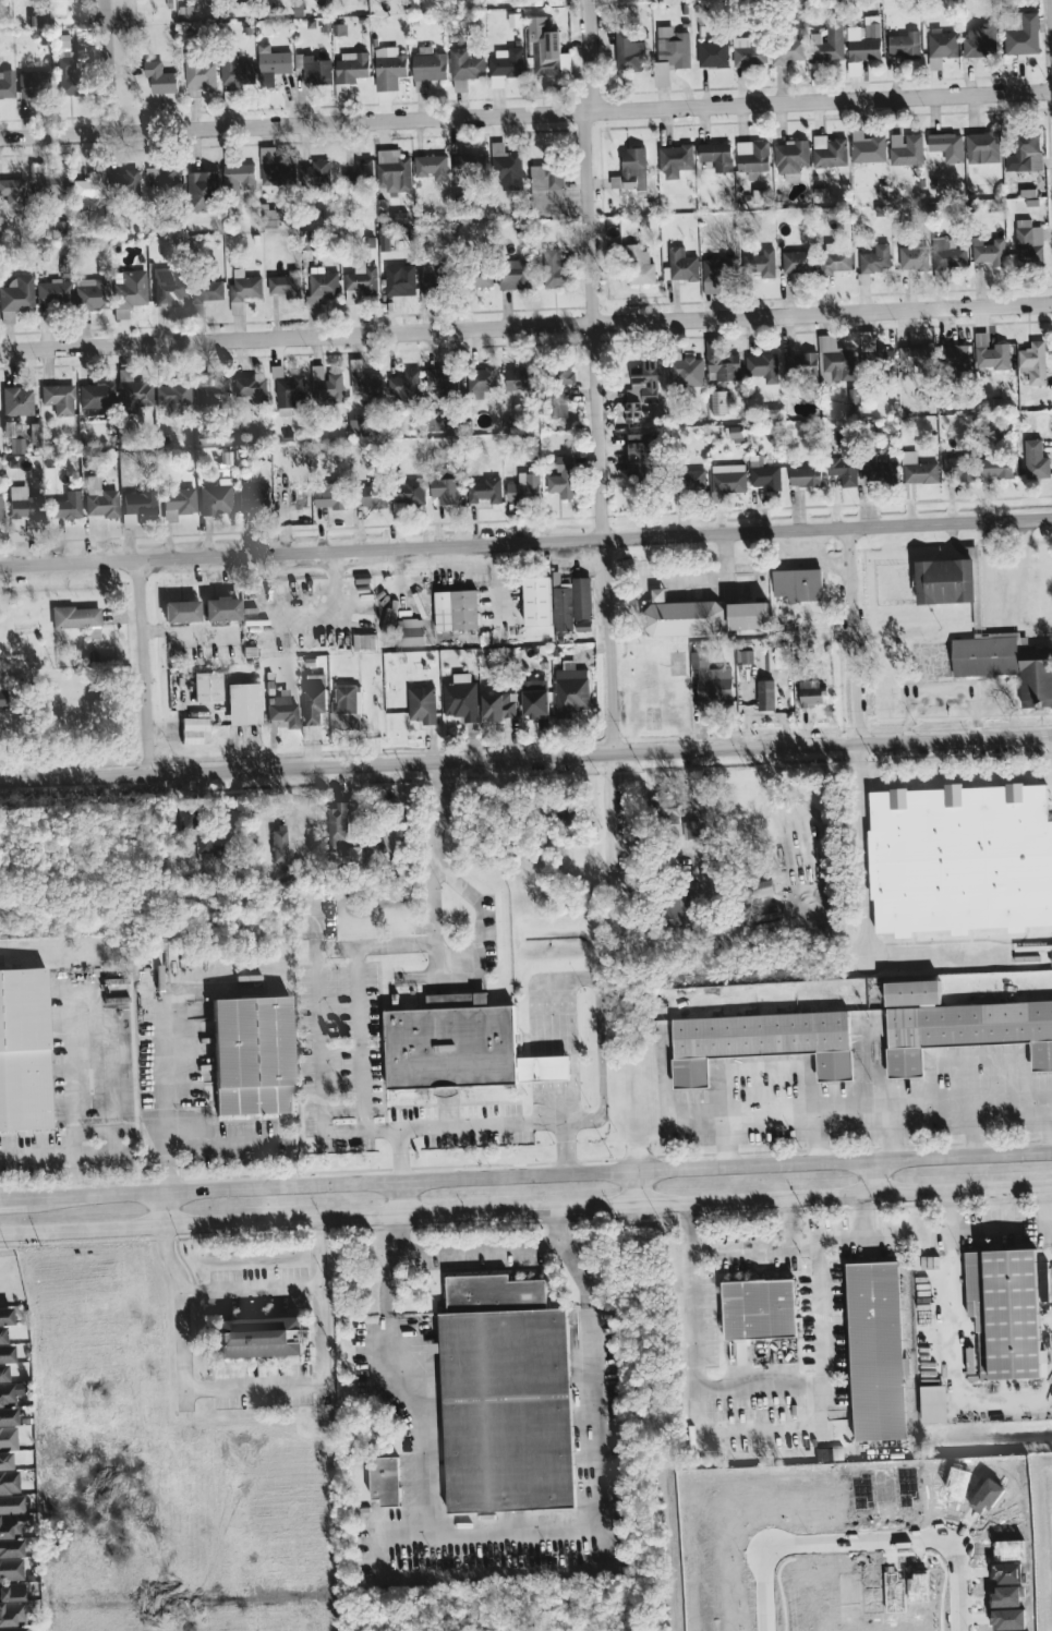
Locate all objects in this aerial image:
building: (1023, 35)
building: (829, 41)
building: (981, 41)
building: (862, 44)
building: (942, 44)
building: (906, 45)
building: (674, 47)
building: (548, 48)
building: (787, 50)
building: (749, 51)
building: (629, 52)
building: (713, 53)
building: (507, 62)
building: (273, 64)
road: (109, 67)
building: (352, 67)
building: (428, 67)
building: (389, 68)
building: (464, 68)
building: (314, 69)
building: (66, 70)
building: (814, 70)
building: (202, 73)
building: (237, 73)
building: (662, 73)
building: (160, 77)
building: (33, 84)
building: (7, 85)
road: (525, 111)
building: (947, 146)
building: (867, 147)
building: (983, 148)
building: (906, 149)
building: (830, 152)
building: (1024, 155)
building: (716, 156)
building: (752, 158)
building: (790, 158)
building: (675, 160)
building: (432, 167)
building: (275, 169)
building: (470, 169)
building: (634, 169)
building: (508, 170)
building: (394, 171)
building: (316, 174)
building: (360, 174)
building: (161, 176)
building: (239, 177)
building: (123, 181)
building: (616, 182)
building: (48, 184)
building: (547, 188)
building: (87, 190)
building: (13, 191)
building: (204, 191)
building: (269, 218)
building: (1029, 243)
building: (989, 251)
building: (948, 255)
building: (914, 257)
building: (834, 259)
building: (875, 259)
building: (797, 262)
building: (760, 264)
building: (639, 265)
building: (682, 265)
building: (555, 269)
building: (716, 273)
building: (483, 275)
building: (517, 275)
building: (400, 280)
building: (434, 280)
building: (167, 285)
building: (286, 285)
building: (361, 285)
building: (130, 288)
building: (322, 288)
building: (243, 290)
building: (52, 291)
building: (92, 293)
building: (204, 295)
building: (15, 298)
building: (120, 314)
road: (525, 323)
building: (873, 351)
building: (990, 353)
building: (956, 358)
building: (915, 359)
building: (835, 360)
building: (723, 363)
building: (1033, 363)
building: (800, 365)
building: (762, 366)
building: (687, 372)
building: (565, 374)
building: (521, 378)
road: (596, 378)
building: (445, 379)
building: (481, 380)
building: (365, 382)
building: (326, 385)
building: (407, 385)
building: (252, 388)
building: (641, 390)
building: (287, 391)
building: (214, 392)
building: (96, 395)
building: (173, 397)
building: (58, 398)
building: (854, 399)
building: (17, 402)
building: (558, 402)
building: (718, 402)
building: (436, 420)
building: (359, 427)
building: (737, 434)
building: (14, 436)
building: (642, 456)
building: (1036, 460)
building: (996, 468)
building: (958, 469)
building: (844, 471)
building: (880, 471)
building: (921, 473)
building: (764, 474)
building: (806, 476)
building: (564, 478)
building: (729, 479)
building: (691, 481)
building: (525, 488)
building: (446, 491)
building: (486, 491)
building: (409, 492)
building: (254, 495)
building: (371, 495)
building: (330, 496)
building: (99, 498)
building: (216, 498)
building: (178, 502)
building: (23, 504)
building: (136, 506)
building: (64, 508)
road: (525, 541)
road: (708, 577)
building: (945, 581)
building: (798, 584)
road: (627, 590)
building: (582, 597)
road: (995, 597)
building: (537, 601)
building: (563, 605)
building: (221, 608)
building: (456, 609)
building: (181, 612)
building: (682, 616)
building: (748, 616)
building: (75, 617)
building: (583, 625)
building: (92, 632)
building: (411, 632)
road: (854, 635)
building: (364, 642)
building: (782, 654)
building: (745, 656)
building: (1007, 664)
road: (146, 666)
building: (711, 679)
building: (207, 687)
building: (571, 692)
building: (810, 692)
building: (766, 696)
building: (535, 697)
building: (461, 698)
building: (2, 699)
building: (316, 699)
building: (243, 703)
building: (422, 704)
building: (499, 706)
building: (347, 708)
building: (282, 710)
building: (194, 730)
road: (525, 760)
building: (669, 808)
building: (691, 830)
building: (342, 835)
road: (616, 836)
building: (278, 843)
road: (434, 846)
road: (862, 847)
building: (206, 849)
building: (962, 858)
building: (680, 903)
building: (1051, 954)
road: (592, 981)
building: (958, 1026)
road: (319, 1040)
road: (359, 1040)
building: (760, 1042)
building: (461, 1046)
building: (23, 1051)
building: (251, 1055)
road: (70, 1068)
road: (159, 1096)
road: (883, 1108)
road: (570, 1121)
road: (509, 1123)
road: (971, 1131)
road: (888, 1135)
road: (817, 1138)
road: (60, 1151)
road: (525, 1179)
road: (398, 1201)
road: (1051, 1205)
road: (165, 1212)
road: (525, 1213)
road: (946, 1217)
road: (801, 1244)
road: (479, 1245)
road: (759, 1245)
road: (814, 1264)
road: (252, 1286)
building: (759, 1309)
building: (259, 1337)
building: (875, 1349)
road: (953, 1368)
road: (688, 1373)
road: (253, 1387)
building: (8, 1388)
building: (505, 1396)
building: (932, 1403)
building: (4, 1461)
building: (385, 1479)
building: (9, 1483)
road: (507, 1533)
road: (860, 1544)
building: (11, 1569)
building: (11, 1592)
building: (11, 1614)
building: (13, 1629)

